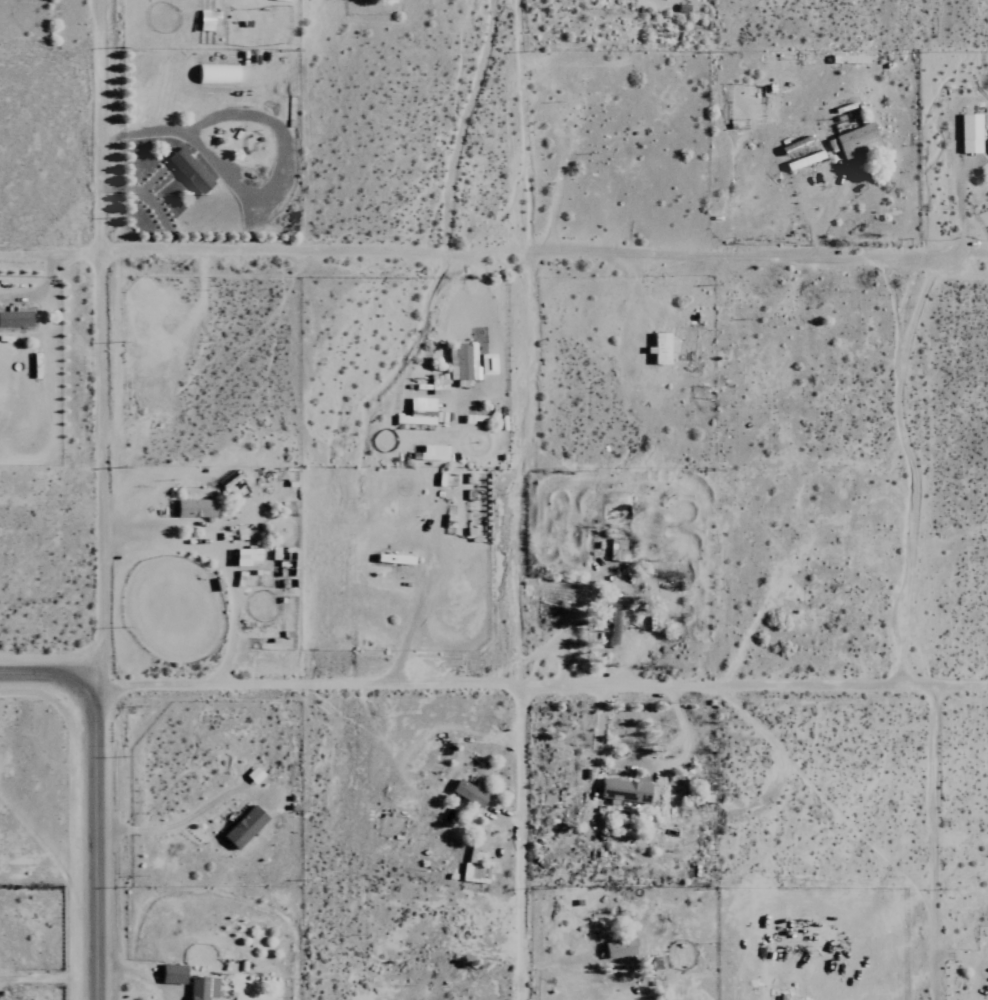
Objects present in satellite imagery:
road: (954, 164)
road: (824, 214)
road: (46, 257)
road: (539, 257)
road: (92, 337)
road: (496, 357)
road: (541, 674)
road: (47, 675)
road: (168, 823)
road: (933, 836)
road: (92, 837)
road: (513, 837)

